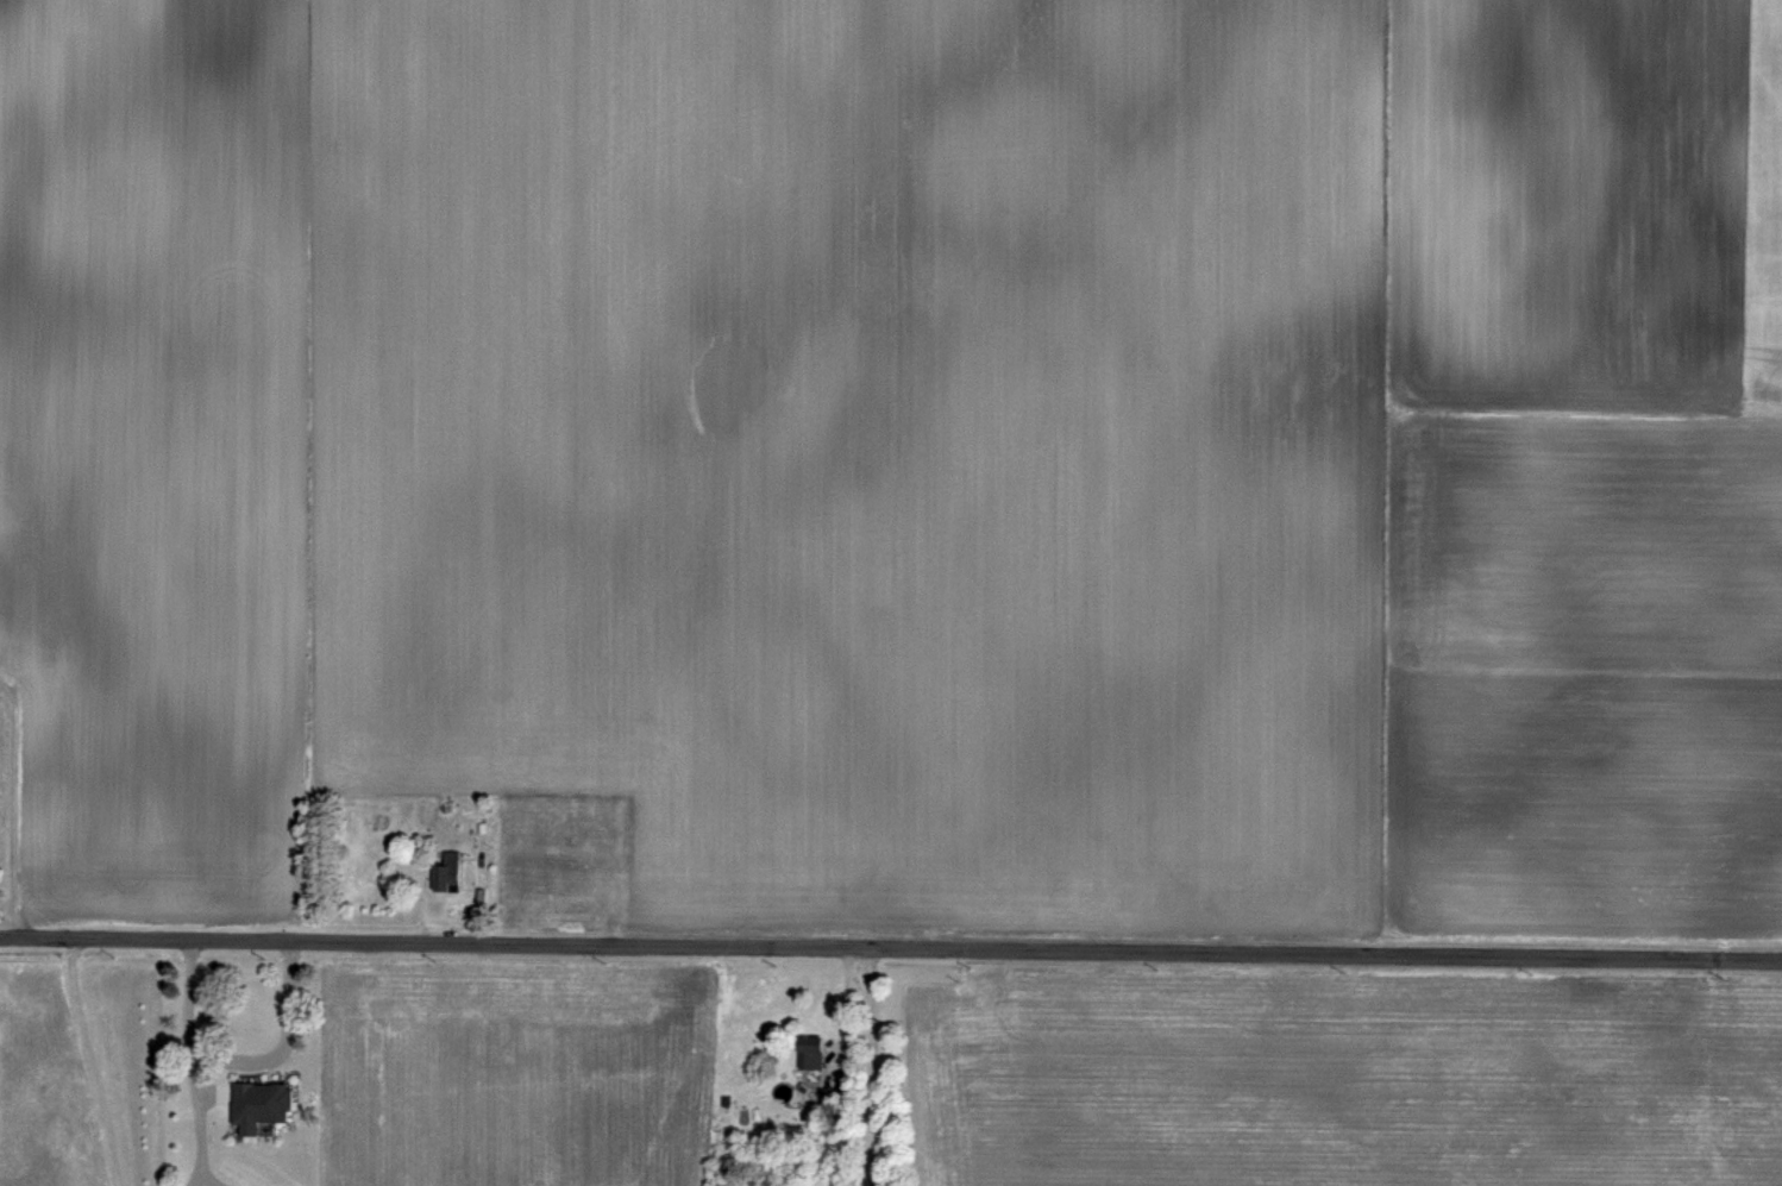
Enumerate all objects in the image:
road: (8, 804)
building: (448, 873)
road: (891, 946)
road: (236, 1053)
building: (810, 1053)
road: (88, 1059)
building: (259, 1105)

